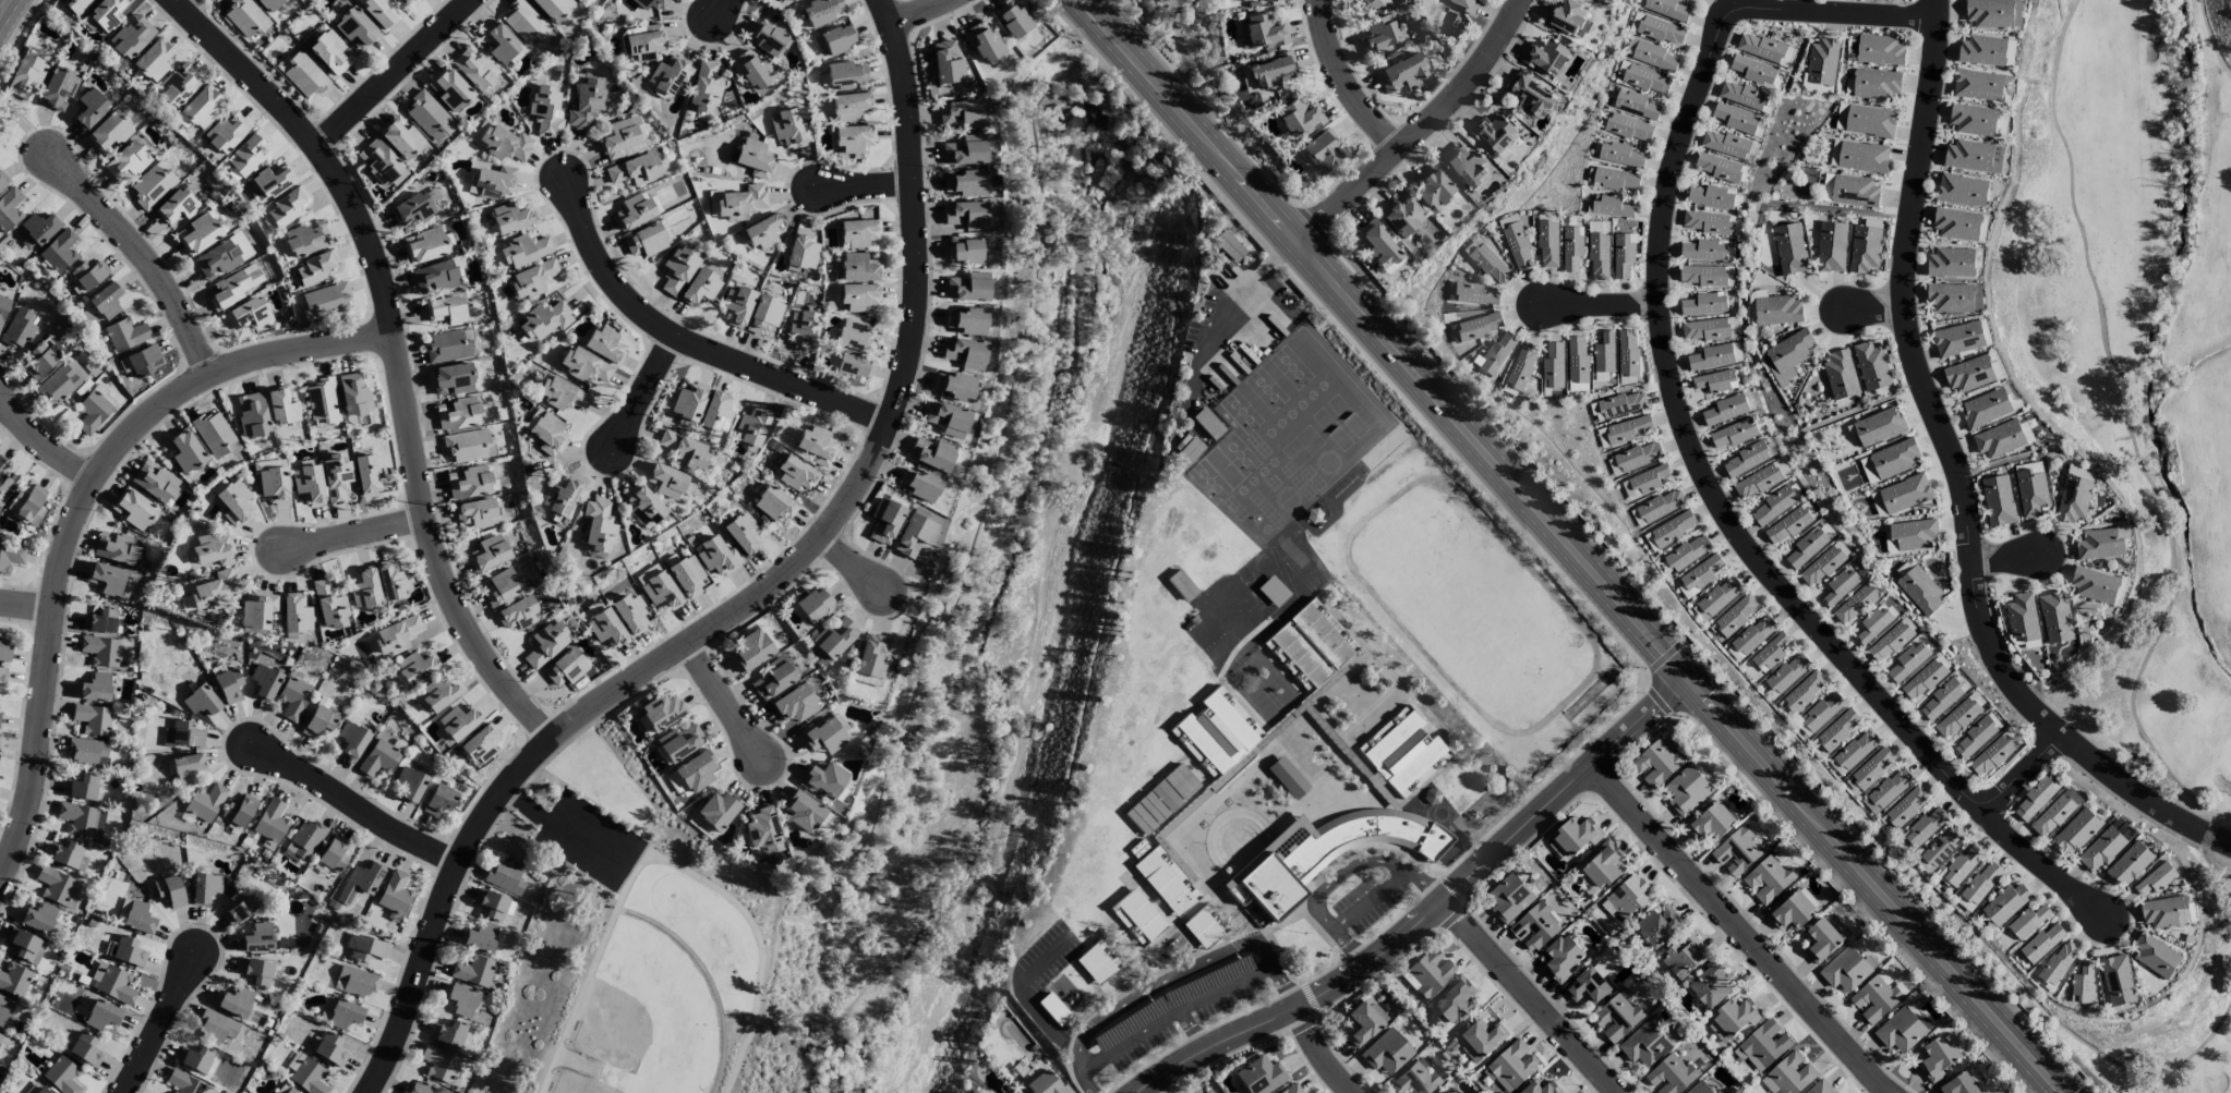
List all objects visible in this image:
building: (583, 0)
building: (792, 0)
building: (1690, 0)
road: (185, 1)
building: (407, 1)
building: (1373, 2)
building: (649, 3)
road: (721, 3)
building: (269, 4)
building: (1464, 4)
building: (77, 5)
road: (4, 7)
building: (553, 8)
road: (918, 9)
building: (1667, 9)
building: (378, 11)
building: (820, 11)
building: (1993, 13)
building: (104, 15)
building: (245, 17)
building: (1013, 19)
building: (1568, 19)
building: (523, 21)
building: (1635, 22)
park: (1192, 25)
building: (355, 28)
building: (1661, 31)
building: (1263, 32)
building: (132, 36)
building: (1379, 36)
building: (767, 38)
building: (835, 39)
building: (644, 41)
building: (984, 42)
building: (502, 45)
building: (1853, 48)
building: (1764, 49)
building: (1880, 50)
building: (1982, 50)
building: (330, 52)
building: (1653, 56)
building: (1545, 57)
building: (155, 59)
building: (1822, 61)
building: (946, 62)
building: (473, 68)
building: (750, 70)
building: (1271, 71)
road: (393, 72)
building: (1757, 72)
building: (302, 73)
building: (1402, 73)
building: (668, 74)
building: (845, 74)
building: (25, 77)
road: (1347, 80)
building: (1647, 80)
building: (1876, 84)
building: (179, 85)
building: (1978, 85)
building: (2007, 85)
building: (58, 88)
building: (703, 88)
building: (449, 89)
building: (1529, 96)
building: (1742, 96)
building: (586, 104)
building: (1636, 104)
building: (849, 106)
building: (201, 107)
building: (89, 108)
building: (545, 111)
building: (962, 113)
building: (427, 116)
building: (1841, 117)
building: (1300, 118)
building: (1736, 119)
building: (1973, 120)
building: (1870, 121)
road: (1419, 127)
building: (1629, 127)
building: (789, 129)
building: (109, 132)
building: (1493, 133)
building: (225, 134)
building: (399, 136)
building: (622, 136)
building: (854, 137)
building: (505, 143)
building: (1725, 144)
building: (965, 150)
building: (1319, 150)
building: (246, 155)
building: (1620, 155)
building: (419, 156)
building: (1859, 156)
building: (1974, 156)
building: (753, 157)
building: (126, 161)
building: (381, 162)
building: (1466, 166)
building: (1717, 167)
building: (632, 170)
building: (1616, 179)
building: (3, 180)
building: (274, 181)
building: (494, 182)
building: (964, 183)
building: (153, 184)
road: (863, 185)
building: (1826, 187)
building: (1962, 191)
building: (1855, 192)
building: (1711, 196)
building: (740, 202)
building: (286, 207)
building: (1612, 207)
building: (9, 208)
building: (177, 208)
building: (412, 208)
building: (634, 211)
building: (966, 215)
building: (1401, 216)
building: (510, 217)
building: (1705, 222)
building: (1957, 224)
building: (39, 227)
building: (763, 231)
building: (201, 232)
building: (858, 232)
building: (306, 239)
building: (646, 240)
building: (1516, 243)
building: (1547, 244)
building: (427, 245)
building: (1376, 245)
building: (1229, 246)
building: (1831, 247)
building: (1572, 248)
building: (1789, 248)
building: (1865, 248)
building: (801, 250)
building: (964, 250)
building: (59, 251)
building: (284, 251)
building: (1597, 251)
building: (1704, 251)
building: (521, 252)
road: (142, 253)
building: (222, 255)
building: (1623, 255)
building: (1951, 263)
building: (1490, 264)
building: (316, 267)
building: (856, 268)
building: (678, 269)
building: (88, 275)
building: (435, 276)
building: (1702, 276)
building: (532, 279)
building: (968, 287)
building: (233, 288)
building: (700, 288)
building: (1476, 294)
building: (859, 296)
building: (1955, 297)
building: (326, 300)
building: (106, 301)
building: (1704, 304)
building: (736, 305)
building: (3, 307)
road: (1597, 307)
road: (1873, 307)
building: (447, 309)
building: (1777, 311)
building: (250, 313)
road: (1221, 313)
building: (764, 314)
building: (544, 320)
building: (966, 320)
building: (1478, 326)
building: (17, 329)
building: (804, 329)
building: (1704, 329)
building: (126, 335)
building: (855, 336)
building: (1958, 339)
park: (2137, 339)
road: (1385, 340)
building: (605, 343)
road: (691, 343)
building: (448, 347)
road: (397, 351)
building: (965, 352)
building: (1498, 353)
building: (1604, 353)
building: (1627, 353)
building: (1787, 355)
building: (1711, 357)
building: (143, 360)
building: (1577, 360)
building: (39, 361)
building: (1521, 365)
building: (586, 366)
building: (853, 366)
building: (1553, 366)
building: (1871, 366)
building: (1969, 374)
building: (1840, 375)
building: (453, 378)
building: (62, 381)
building: (1715, 381)
building: (955, 386)
building: (354, 393)
road: (644, 393)
building: (563, 394)
building: (322, 401)
building: (689, 401)
building: (1623, 404)
building: (282, 406)
building: (1986, 408)
building: (1725, 409)
building: (93, 412)
building: (716, 412)
building: (458, 413)
building: (252, 415)
building: (532, 417)
building: (948, 418)
building: (751, 426)
building: (1879, 426)
building: (1626, 430)
building: (214, 433)
building: (548, 434)
road: (1686, 434)
building: (1734, 434)
road: (45, 438)
building: (1999, 439)
building: (817, 445)
building: (469, 446)
building: (184, 450)
building: (685, 450)
building: (1186, 451)
building: (932, 453)
building: (1638, 457)
building: (1895, 458)
building: (1746, 460)
building: (1868, 470)
building: (2081, 472)
building: (369, 473)
building: (797, 473)
building: (3, 476)
building: (336, 477)
road: (1958, 478)
building: (665, 481)
building: (1648, 481)
building: (154, 482)
building: (470, 482)
building: (1757, 482)
building: (309, 484)
building: (920, 484)
building: (274, 485)
building: (2030, 493)
building: (1905, 494)
building: (563, 496)
building: (2073, 499)
building: (1998, 500)
building: (234, 501)
building: (774, 503)
building: (28, 505)
building: (1878, 505)
building: (643, 506)
building: (1661, 506)
building: (1773, 506)
road: (79, 508)
building: (135, 509)
building: (475, 512)
building: (885, 520)
building: (598, 525)
building: (1787, 525)
building: (1673, 529)
road: (354, 533)
building: (744, 533)
building: (1913, 534)
building: (915, 535)
building: (1650, 543)
building: (1890, 545)
building: (2100, 545)
building: (116, 547)
building: (1807, 547)
building: (213, 549)
building: (490, 552)
building: (1687, 552)
building: (11, 555)
building: (717, 556)
road: (2012, 559)
road: (854, 563)
building: (1821, 566)
building: (1700, 574)
building: (687, 575)
building: (106, 578)
building: (393, 580)
building: (2095, 585)
building: (502, 586)
building: (1840, 586)
building: (364, 588)
building: (1920, 590)
building: (213, 591)
building: (661, 591)
road: (753, 595)
building: (1717, 598)
road: (27, 600)
building: (328, 604)
building: (815, 604)
building: (1855, 604)
building: (257, 609)
building: (631, 612)
building: (296, 614)
building: (517, 614)
building: (1736, 615)
building: (2022, 617)
building: (2055, 618)
building: (100, 620)
building: (1873, 624)
building: (605, 628)
building: (1754, 634)
building: (396, 635)
building: (832, 640)
building: (1889, 642)
building: (546, 643)
building: (1316, 646)
building: (4, 648)
building: (751, 649)
building: (101, 651)
building: (1770, 653)
building: (872, 656)
building: (1908, 661)
building: (417, 666)
building: (566, 668)
building: (1788, 673)
building: (3, 675)
building: (773, 679)
building: (1924, 680)
building: (264, 681)
building: (228, 684)
building: (95, 688)
building: (1805, 690)
building: (439, 692)
building: (293, 697)
building: (1941, 700)
building: (201, 701)
road: (727, 704)
building: (795, 704)
building: (662, 711)
building: (1823, 712)
building: (1959, 715)
building: (93, 718)
building: (319, 720)
building: (458, 721)
building: (1225, 728)
building: (1838, 729)
building: (182, 734)
building: (823, 736)
building: (1976, 737)
building: (0, 738)
building: (352, 739)
building: (679, 742)
building: (479, 743)
building: (1857, 750)
building: (88, 752)
building: (1409, 753)
building: (1993, 753)
building: (379, 758)
building: (1656, 764)
building: (186, 767)
building: (1870, 770)
building: (697, 772)
road: (2023, 773)
building: (1288, 777)
building: (823, 779)
building: (410, 784)
building: (677, 785)
building: (82, 787)
building: (1890, 788)
building: (1687, 790)
road: (1565, 793)
building: (2035, 799)
road: (355, 800)
building: (439, 800)
building: (205, 802)
building: (1907, 805)
building: (239, 810)
building: (717, 810)
building: (803, 811)
building: (2055, 813)
building: (82, 819)
building: (272, 821)
building: (1711, 823)
building: (1924, 828)
building: (763, 830)
building: (2076, 833)
building: (1577, 836)
building: (305, 839)
parking lot: (590, 841)
building: (1943, 846)
building: (2103, 848)
building: (1736, 852)
building: (1336, 853)
building: (67, 854)
building: (334, 854)
road: (667, 861)
building: (2130, 864)
building: (1604, 865)
building: (1963, 865)
road: (615, 873)
building: (505, 877)
building: (2156, 879)
building: (1768, 881)
building: (360, 882)
road: (1428, 885)
building: (57, 886)
road: (1871, 886)
building: (1979, 886)
building: (205, 887)
road: (1330, 888)
building: (170, 890)
building: (395, 892)
building: (1629, 896)
road: (1374, 898)
building: (1510, 898)
building: (493, 904)
building: (2005, 904)
building: (238, 908)
parking lot: (1361, 911)
building: (1612, 912)
building: (1790, 912)
building: (2166, 912)
building: (1137, 916)
building: (39, 918)
building: (138, 918)
building: (2027, 922)
building: (1205, 926)
building: (1659, 926)
building: (1534, 927)
road: (1739, 930)
park: (630, 935)
building: (480, 937)
building: (257, 938)
building: (1821, 940)
building: (2041, 944)
building: (25, 945)
building: (367, 948)
building: (129, 951)
building: (1685, 957)
building: (2156, 957)
building: (1563, 958)
building: (1098, 962)
building: (2059, 962)
building: (1846, 969)
building: (473, 970)
building: (256, 971)
building: (1427, 972)
building: (14, 980)
building: (2118, 980)
building: (358, 981)
road: (1178, 981)
building: (2083, 983)
building: (117, 984)
building: (1712, 984)
building: (1588, 986)
road: (1228, 989)
road: (1030, 997)
road: (1528, 998)
building: (461, 999)
building: (1874, 999)
building: (1455, 1000)
building: (236, 1001)
building: (5, 1009)
road: (1297, 1010)
building: (102, 1015)
building: (345, 1015)
parking lot: (1177, 1017)
building: (1616, 1018)
building: (1733, 1019)
building: (1362, 1021)
road: (164, 1024)
building: (216, 1025)
building: (1902, 1030)
road: (1193, 1031)
building: (449, 1032)
building: (0, 1035)
park: (2179, 1037)
road: (1136, 1041)
building: (1644, 1044)
building: (1763, 1045)
building: (85, 1048)
building: (330, 1049)
road: (1326, 1052)
building: (1386, 1052)
building: (1698, 1056)
building: (1939, 1058)
building: (197, 1059)
building: (439, 1062)
building: (1511, 1066)
building: (1259, 1074)
building: (1789, 1074)
building: (62, 1076)
building: (1671, 1076)
building: (309, 1077)
building: (1415, 1080)
building: (184, 1082)
building: (1045, 1084)
building: (1958, 1085)
building: (1543, 1088)
building: (1699, 1088)
building: (1820, 1088)
building: (419, 1089)
building: (1292, 1089)
building: (291, 1090)
building: (40, 1091)
building: (1446, 1092)

